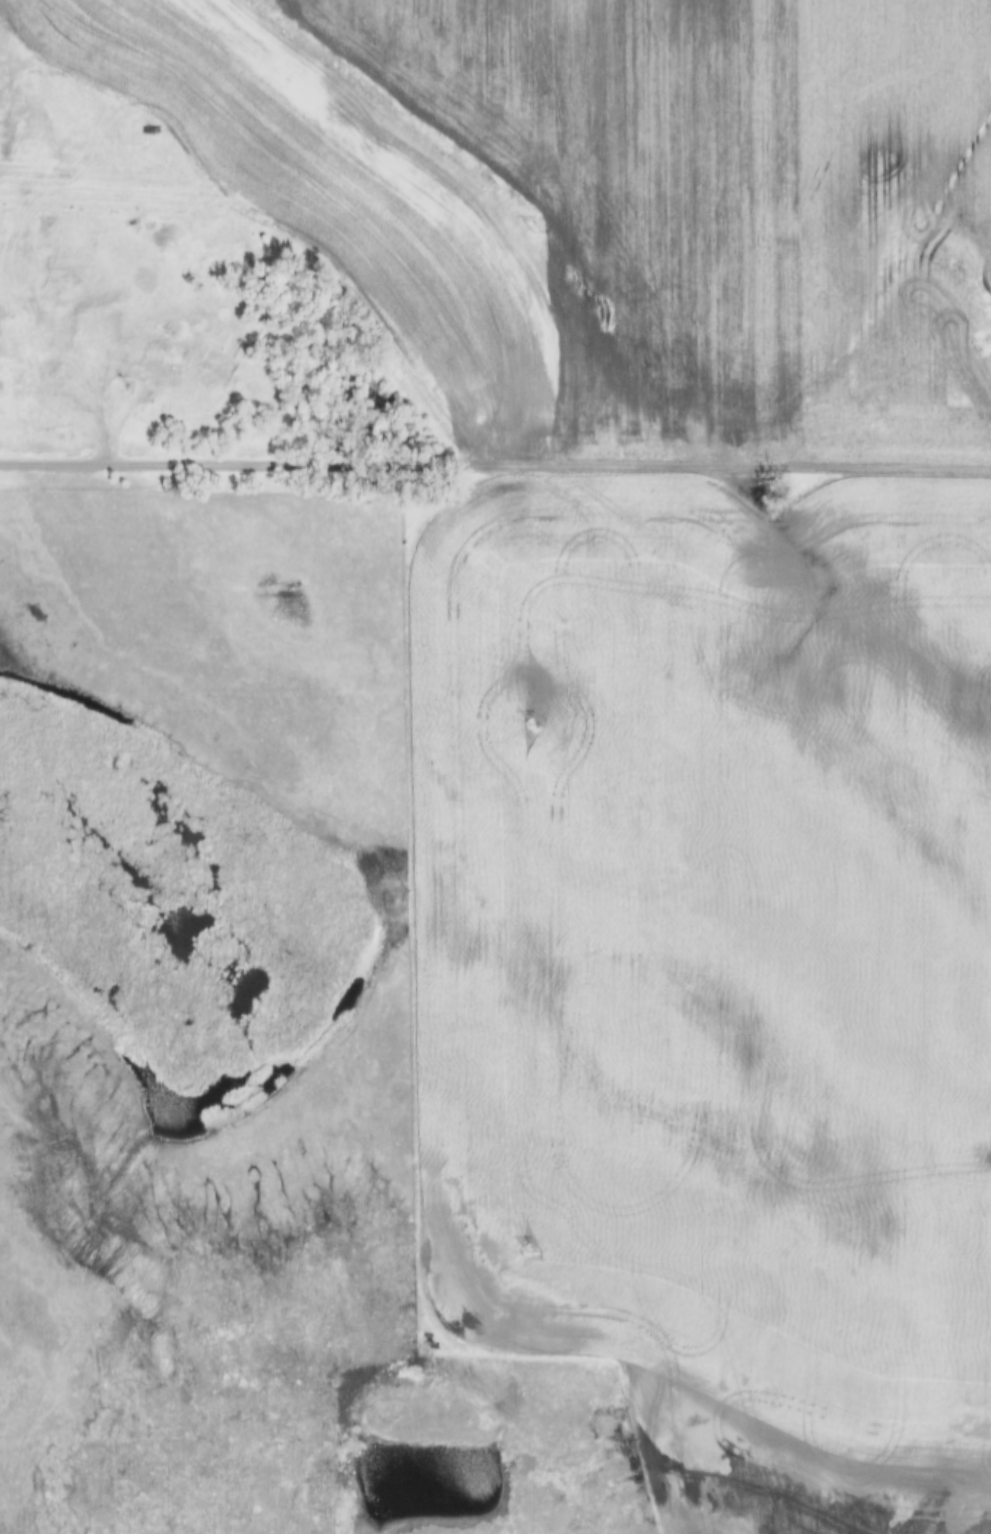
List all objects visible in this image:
power tower: (534, 232)
road: (495, 470)
power tower: (532, 724)
power tower: (531, 1246)

